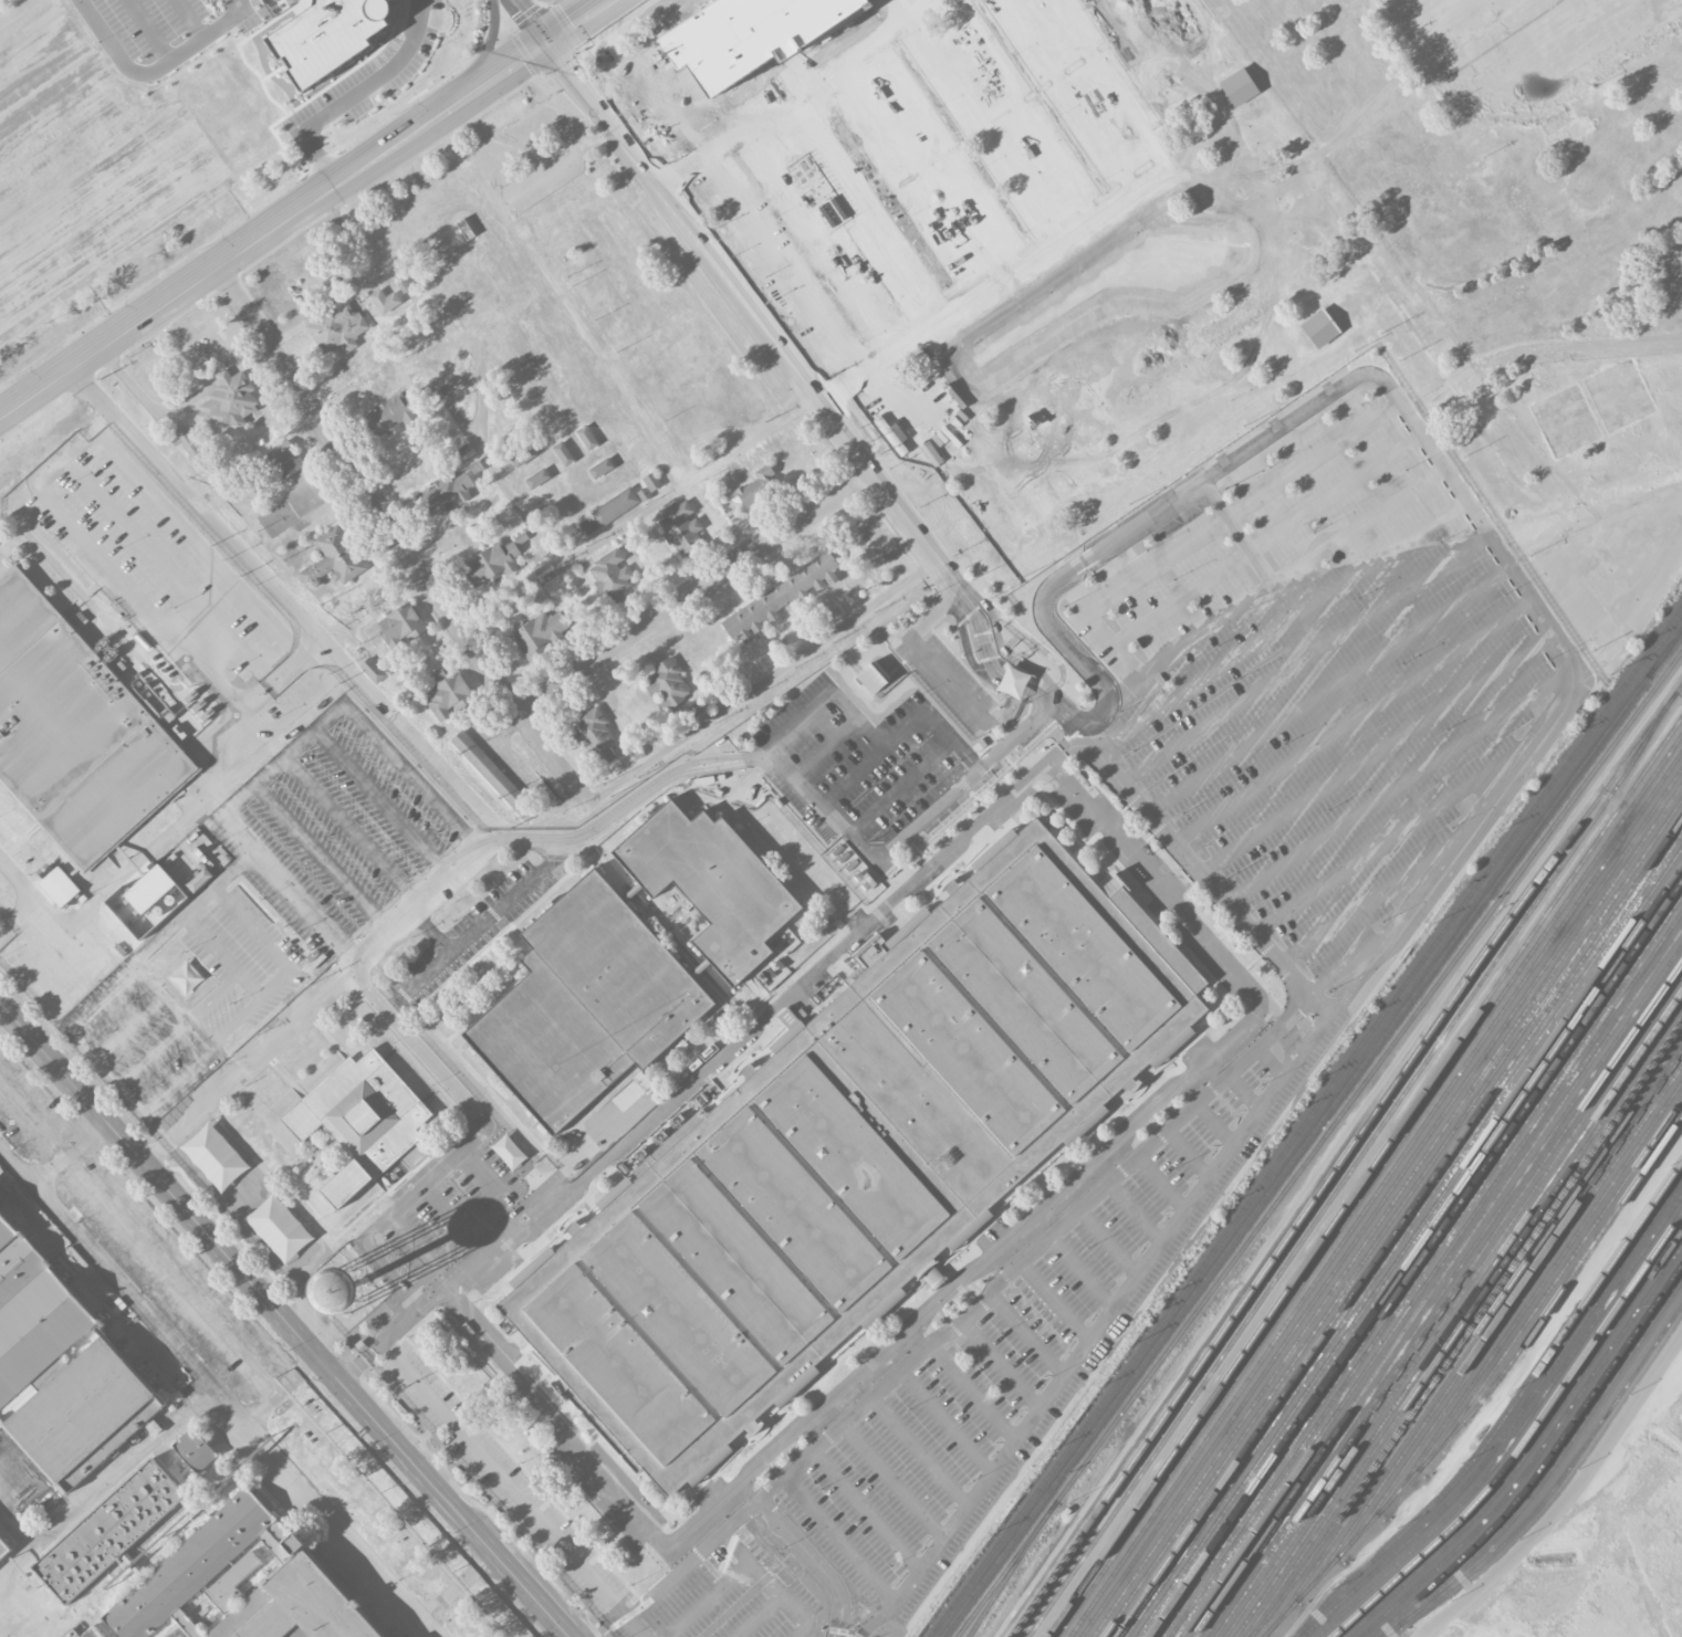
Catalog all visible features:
building: (1673, 0)
road: (905, 6)
road: (531, 19)
road: (575, 19)
building: (746, 33)
building: (328, 34)
traffic signals: (546, 39)
road: (156, 70)
building: (1055, 71)
road: (1105, 84)
building: (1239, 86)
road: (361, 92)
road: (791, 92)
road: (1068, 95)
road: (1527, 105)
road: (1023, 107)
road: (985, 125)
building: (1574, 129)
road: (939, 155)
building: (1128, 157)
road: (905, 179)
road: (859, 208)
road: (273, 229)
road: (822, 233)
building: (1180, 240)
road: (779, 262)
park: (1324, 283)
road: (990, 284)
building: (385, 301)
building: (336, 326)
building: (1319, 327)
road: (1537, 351)
road: (782, 354)
road: (250, 357)
building: (1079, 366)
road: (224, 376)
building: (227, 405)
road: (150, 406)
building: (1037, 419)
building: (586, 437)
building: (184, 438)
road: (479, 439)
road: (1432, 450)
building: (563, 453)
building: (522, 457)
road: (1315, 458)
building: (282, 460)
building: (600, 468)
building: (537, 478)
building: (651, 481)
road: (689, 482)
building: (756, 485)
road: (1337, 492)
building: (443, 495)
building: (615, 506)
road: (1359, 525)
building: (681, 526)
road: (396, 533)
road: (1380, 556)
building: (333, 558)
building: (493, 560)
road: (1261, 562)
road: (113, 567)
building: (610, 576)
road: (276, 587)
road: (694, 591)
road: (1182, 595)
road: (1107, 597)
building: (776, 598)
road: (1641, 611)
building: (401, 625)
road: (1208, 630)
building: (541, 633)
railway: (1664, 654)
road: (1304, 655)
road: (294, 660)
building: (373, 670)
building: (871, 678)
road: (1197, 683)
building: (667, 684)
road: (761, 685)
road: (1328, 689)
road: (1036, 694)
building: (448, 695)
road: (822, 696)
road: (1351, 720)
road: (898, 730)
building: (75, 731)
building: (594, 737)
road: (1376, 751)
building: (493, 775)
road: (412, 778)
road: (1397, 785)
road: (384, 805)
road: (237, 827)
road: (353, 832)
road: (168, 833)
road: (533, 837)
road: (1389, 839)
road: (900, 840)
road: (552, 852)
road: (323, 860)
road: (1204, 875)
building: (711, 884)
building: (60, 885)
road: (1161, 885)
road: (31, 895)
building: (156, 895)
road: (1371, 904)
road: (473, 928)
road: (252, 930)
road: (432, 932)
road: (152, 946)
road: (223, 956)
road: (276, 984)
road: (104, 1001)
road: (391, 1004)
building: (585, 1004)
road: (238, 1021)
road: (1291, 1040)
road: (712, 1061)
road: (1270, 1062)
road: (245, 1067)
road: (1246, 1089)
road: (138, 1108)
building: (361, 1120)
railway: (1303, 1121)
road: (1215, 1122)
railway: (1312, 1132)
road: (467, 1142)
railway: (1319, 1143)
road: (66, 1150)
road: (1190, 1151)
building: (856, 1152)
building: (215, 1155)
railway: (1341, 1156)
railway: (1345, 1175)
railway: (1364, 1176)
road: (1163, 1180)
railway: (1371, 1185)
railway: (1377, 1192)
railway: (1380, 1201)
railway: (1387, 1209)
road: (1135, 1213)
railway: (1392, 1217)
railway: (1397, 1225)
building: (279, 1227)
railway: (1403, 1232)
road: (1046, 1237)
road: (1109, 1240)
railway: (1409, 1240)
railway: (1413, 1250)
railway: (1420, 1258)
railway: (1425, 1266)
road: (1083, 1269)
railway: (1430, 1273)
railway: (1545, 1276)
road: (965, 1280)
railway: (1437, 1281)
railway: (1441, 1289)
road: (1056, 1298)
railway: (1446, 1298)
railway: (1516, 1303)
railway: (1536, 1304)
railway: (1452, 1305)
road: (1114, 1307)
railway: (1458, 1311)
railway: (1496, 1315)
road: (283, 1319)
railway: (1463, 1321)
railway: (1466, 1328)
railway: (1475, 1330)
road: (1028, 1331)
road: (1003, 1362)
road: (974, 1389)
railway: (1488, 1389)
road: (212, 1391)
road: (283, 1393)
building: (81, 1412)
railway: (1506, 1413)
road: (552, 1420)
road: (947, 1420)
railway: (1512, 1424)
railway: (1517, 1431)
railway: (1523, 1439)
railway: (1530, 1445)
building: (195, 1449)
road: (921, 1449)
railway: (1537, 1456)
railway: (1557, 1458)
railway: (1543, 1461)
road: (892, 1480)
road: (104, 1483)
road: (31, 1487)
road: (774, 1487)
railway: (1553, 1489)
road: (1568, 1497)
road: (760, 1501)
road: (866, 1510)
building: (108, 1530)
road: (721, 1533)
road: (840, 1538)
building: (4, 1545)
road: (570, 1554)
road: (821, 1560)
road: (812, 1563)
railway: (1002, 1582)
building: (288, 1601)
road: (869, 1613)
road: (795, 1615)
road: (759, 1617)
road: (878, 1619)
building: (91, 1633)

